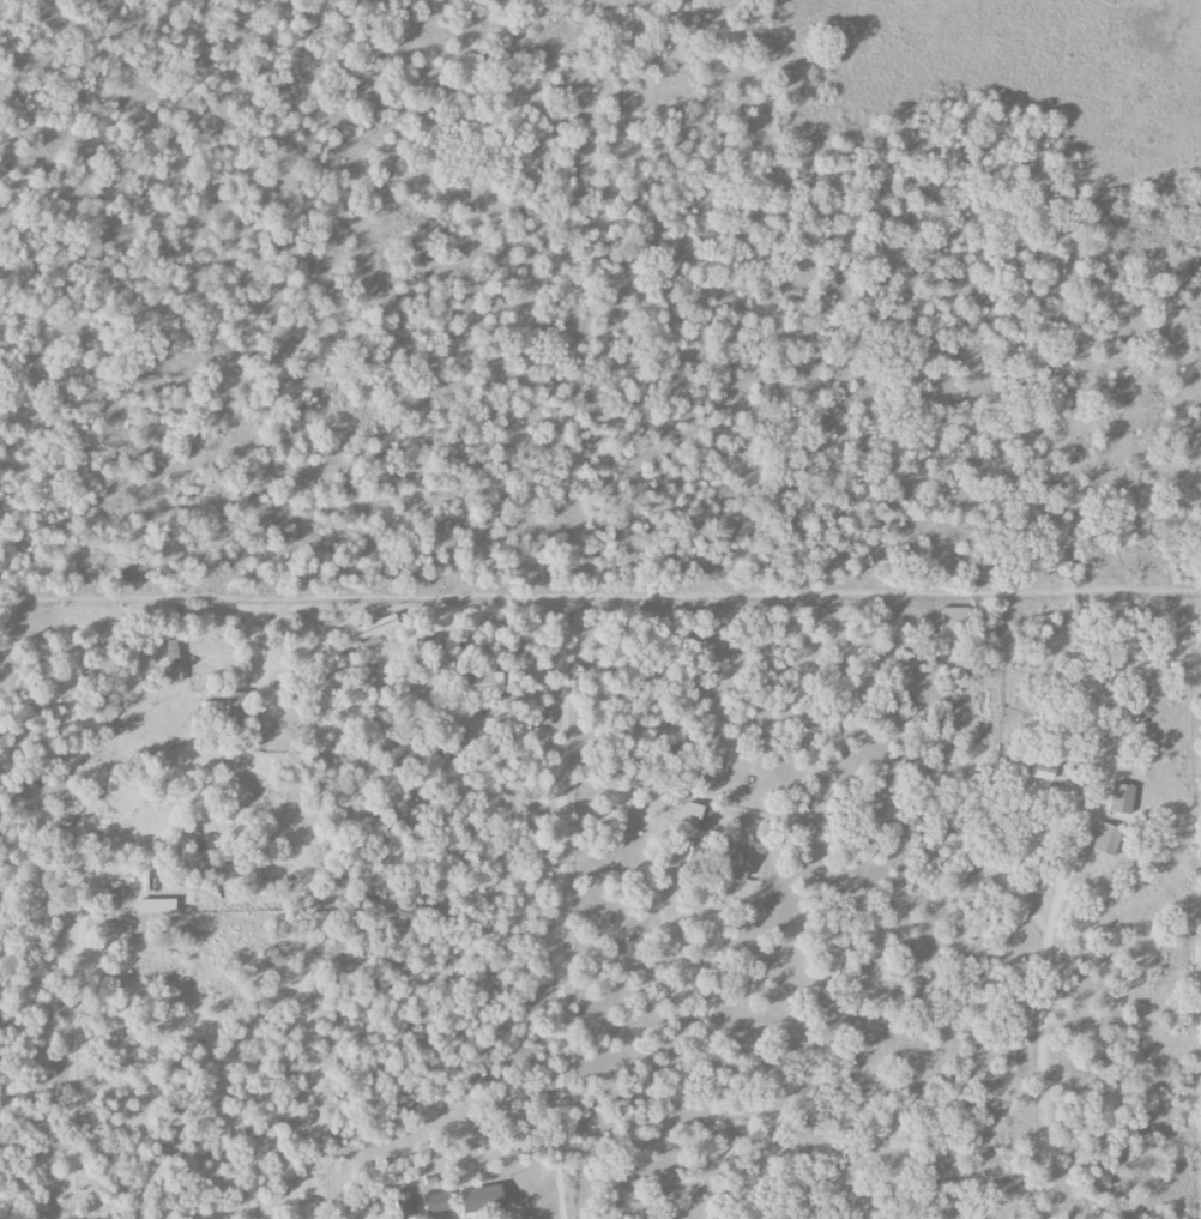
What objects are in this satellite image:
road: (463, 609)
building: (953, 622)
building: (373, 628)
building: (171, 665)
building: (487, 677)
building: (235, 710)
building: (105, 714)
building: (454, 740)
building: (663, 748)
building: (1040, 774)
building: (159, 792)
building: (1121, 798)
building: (694, 816)
building: (1106, 840)
building: (696, 849)
building: (1200, 856)
building: (731, 864)
building: (155, 906)
building: (405, 913)
building: (437, 916)
road: (559, 1010)
road: (696, 1038)
road: (1040, 1052)
road: (66, 1069)
building: (481, 1200)
building: (434, 1202)
building: (405, 1206)

